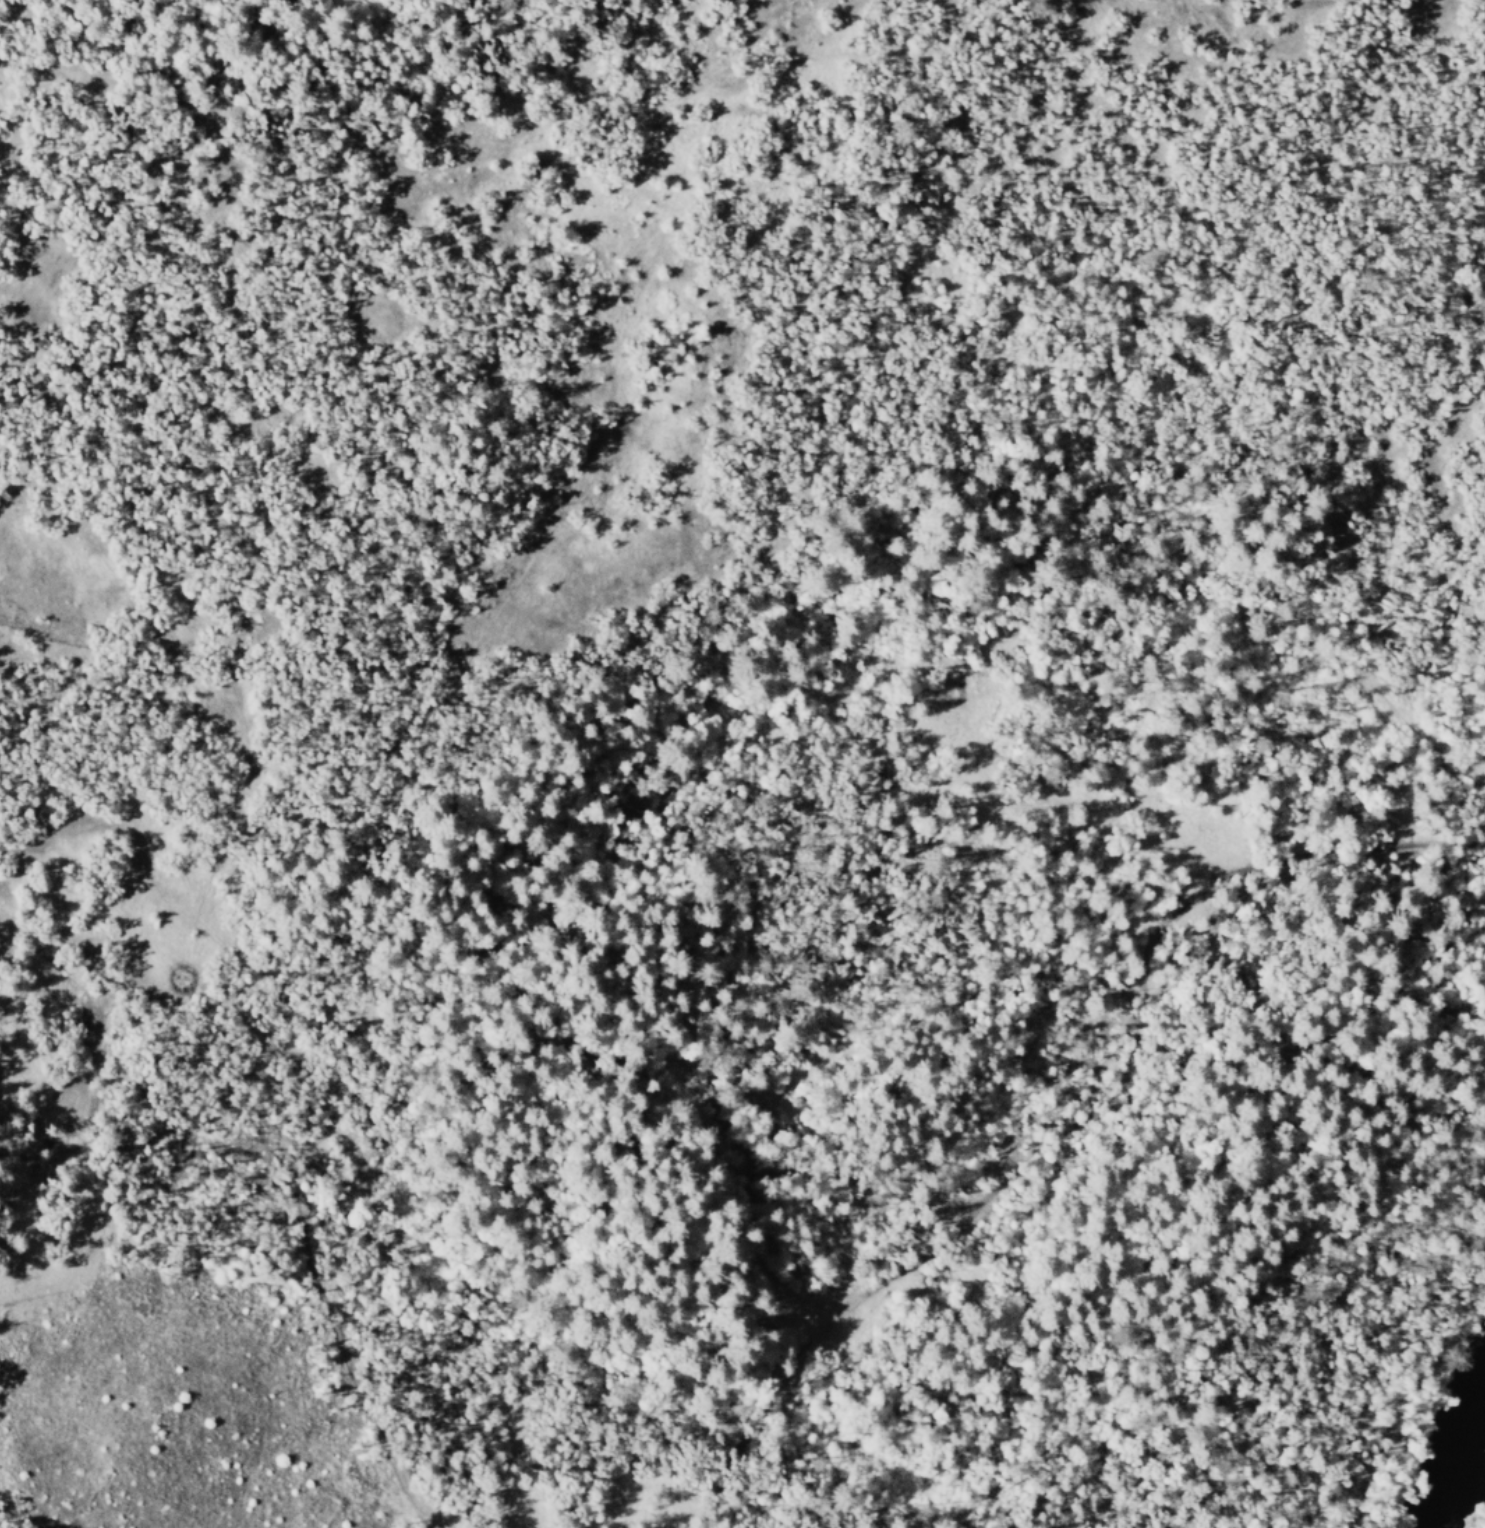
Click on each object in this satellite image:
river: (1459, 1470)

